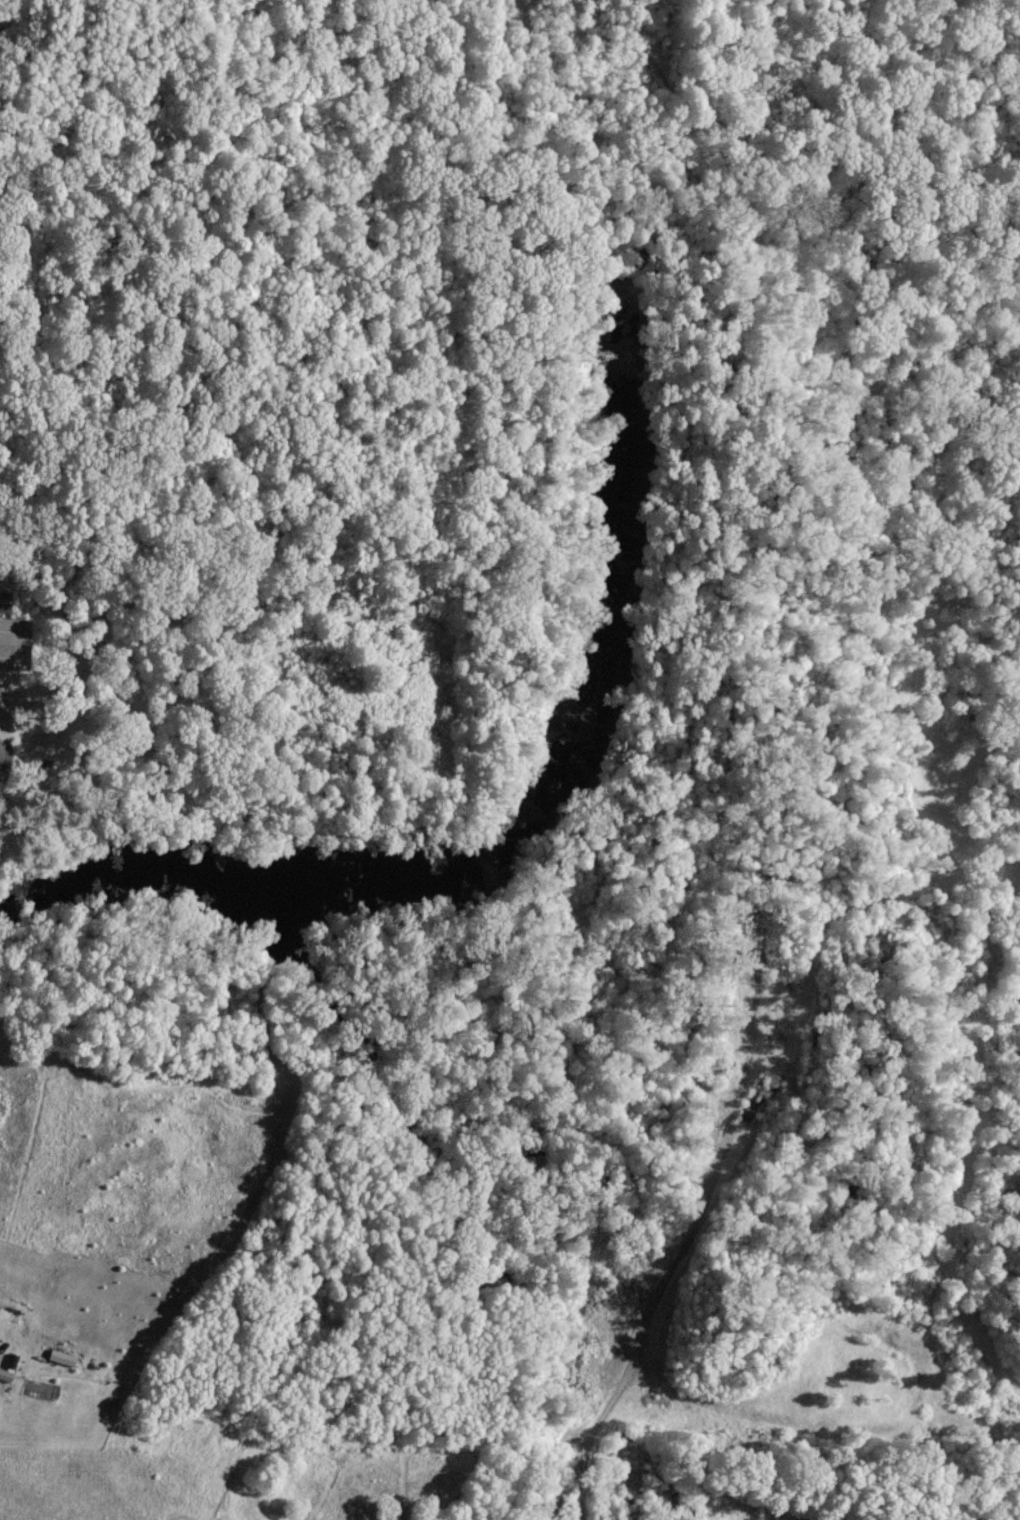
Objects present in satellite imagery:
building: (14, 645)
building: (62, 1356)
road: (588, 1442)

